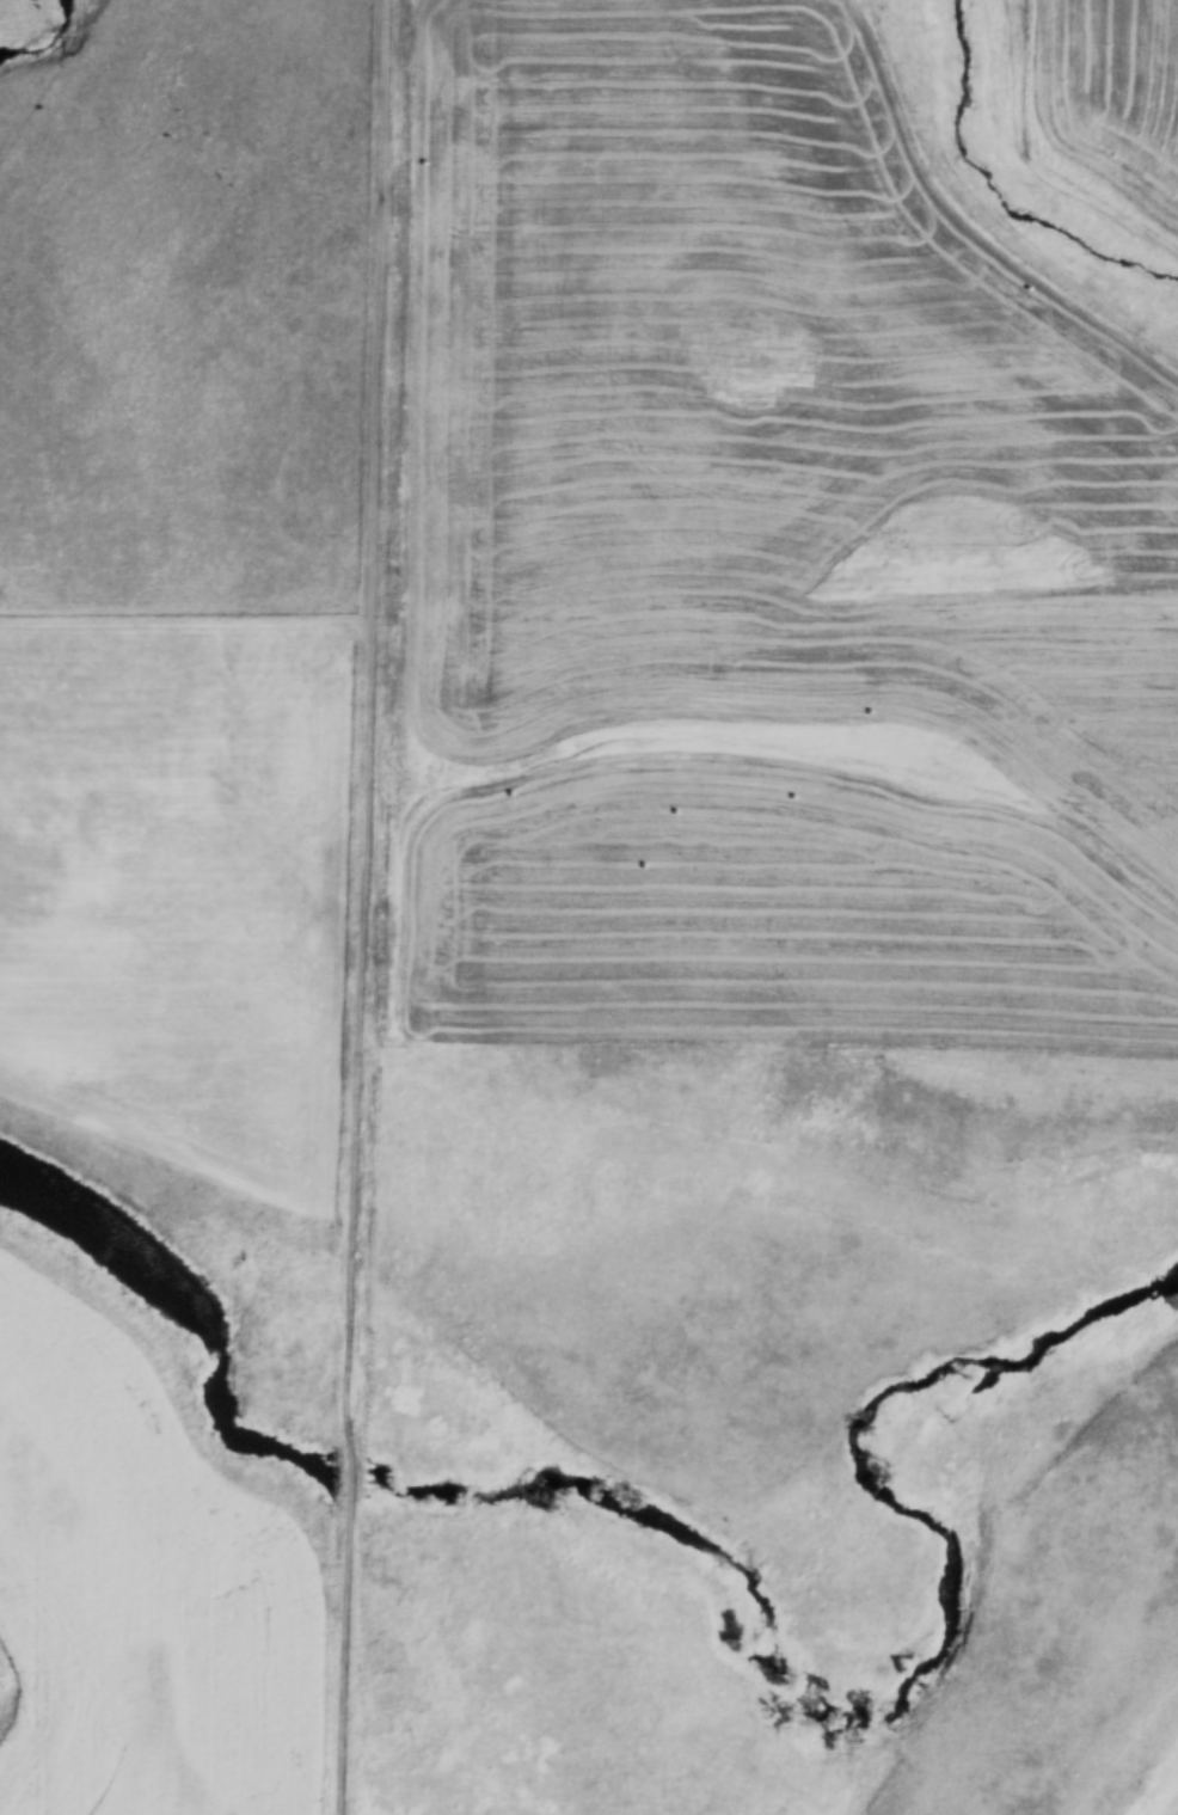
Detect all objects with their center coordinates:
road: (379, 907)

